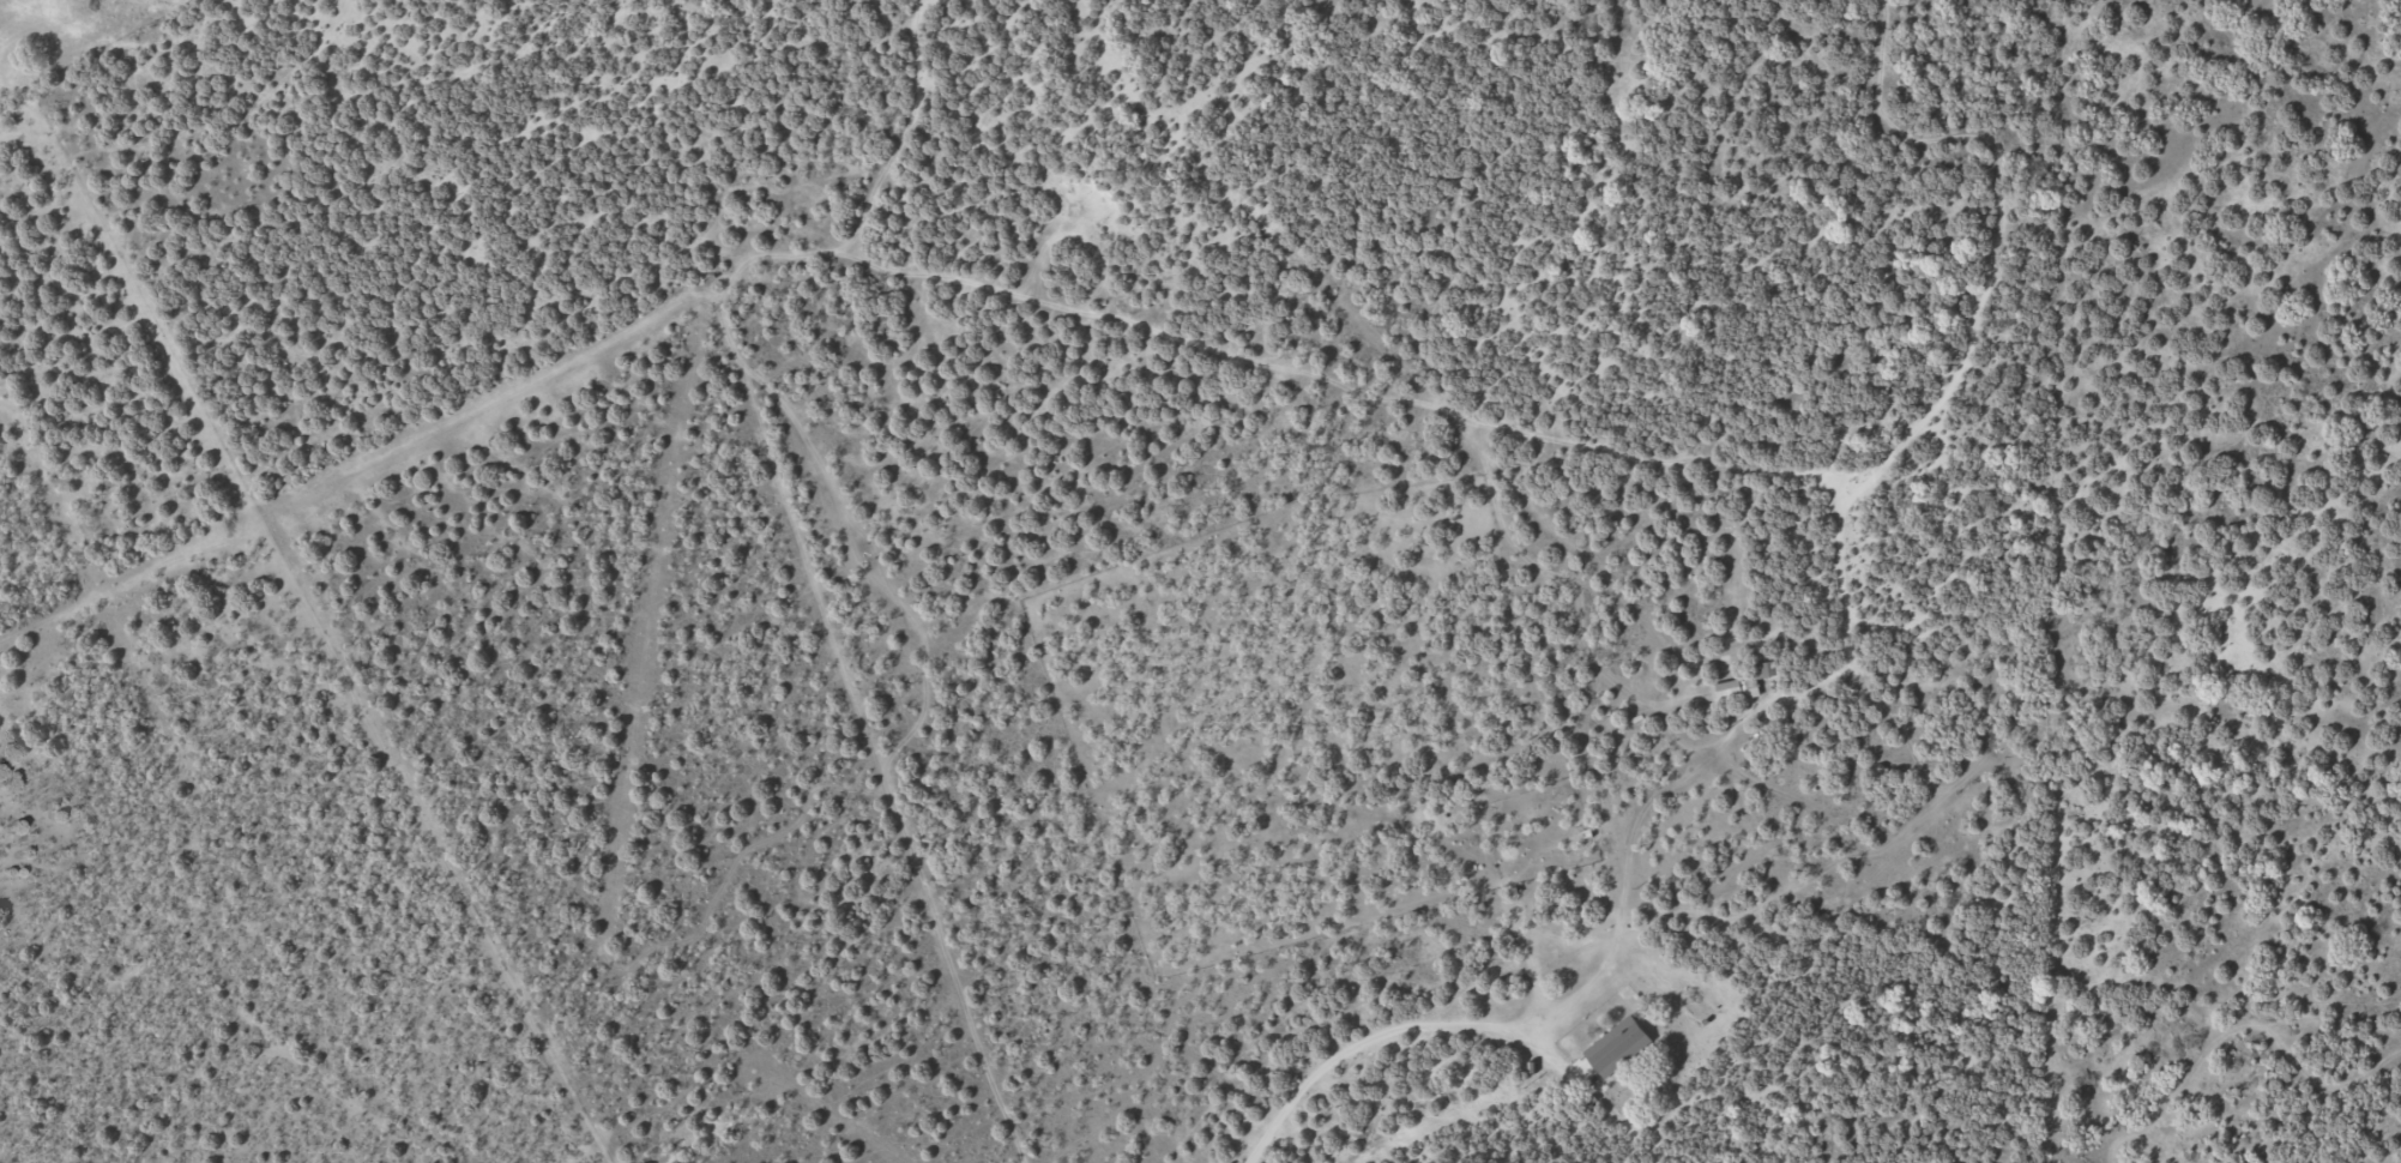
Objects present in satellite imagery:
building: (1748, 689)
road: (1382, 1038)
building: (1615, 1048)

